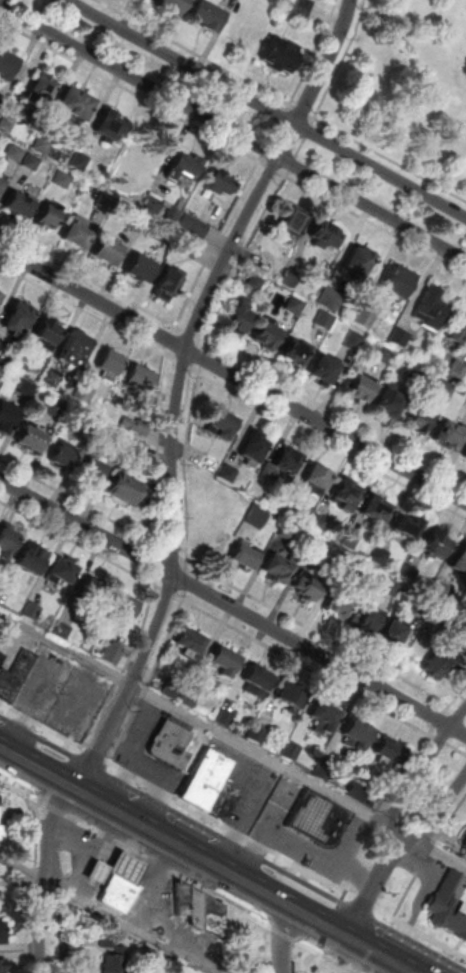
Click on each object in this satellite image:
building: (173, 5)
building: (306, 7)
building: (207, 17)
road: (318, 53)
building: (281, 57)
road: (208, 59)
building: (8, 67)
park: (408, 88)
road: (131, 89)
building: (42, 95)
building: (77, 106)
road: (267, 109)
building: (1, 112)
building: (7, 125)
building: (111, 127)
road: (333, 129)
road: (234, 130)
road: (277, 132)
building: (16, 153)
building: (81, 162)
building: (33, 163)
building: (186, 169)
building: (64, 180)
building: (2, 184)
building: (221, 186)
building: (108, 205)
building: (21, 207)
building: (162, 210)
building: (53, 218)
building: (290, 218)
road: (363, 218)
building: (137, 222)
building: (194, 226)
building: (323, 234)
building: (79, 236)
building: (167, 236)
road: (251, 243)
building: (186, 247)
building: (109, 254)
building: (264, 261)
building: (357, 262)
building: (141, 271)
building: (291, 274)
building: (254, 279)
building: (399, 280)
building: (168, 287)
building: (0, 294)
building: (331, 295)
building: (2, 301)
building: (294, 301)
building: (429, 306)
building: (364, 315)
building: (325, 316)
building: (237, 318)
building: (20, 320)
road: (170, 324)
building: (458, 327)
building: (49, 333)
building: (265, 335)
building: (396, 336)
building: (353, 337)
building: (1, 344)
building: (294, 350)
building: (75, 352)
building: (382, 354)
building: (111, 360)
building: (25, 363)
building: (455, 367)
building: (321, 368)
building: (415, 370)
building: (3, 374)
building: (140, 376)
road: (232, 377)
building: (53, 379)
road: (180, 385)
building: (357, 387)
building: (439, 387)
building: (28, 390)
road: (293, 391)
building: (85, 394)
building: (386, 400)
building: (57, 407)
building: (419, 418)
building: (7, 419)
building: (87, 420)
building: (218, 423)
building: (446, 434)
building: (34, 441)
road: (161, 444)
building: (115, 445)
building: (251, 445)
building: (135, 451)
building: (463, 452)
building: (284, 458)
building: (64, 460)
building: (205, 461)
building: (94, 473)
building: (226, 474)
building: (315, 474)
road: (188, 476)
building: (128, 492)
building: (344, 493)
building: (287, 501)
building: (374, 507)
building: (257, 512)
building: (319, 518)
building: (406, 524)
building: (288, 527)
building: (351, 536)
building: (318, 542)
building: (434, 542)
building: (8, 547)
building: (380, 551)
building: (242, 554)
building: (459, 557)
building: (350, 559)
building: (34, 562)
road: (115, 562)
building: (275, 566)
building: (409, 568)
building: (64, 574)
road: (189, 582)
building: (391, 583)
building: (439, 583)
building: (308, 587)
building: (92, 594)
building: (341, 603)
road: (233, 605)
building: (127, 610)
building: (33, 613)
building: (370, 617)
road: (218, 619)
building: (63, 631)
building: (394, 633)
building: (456, 635)
road: (169, 642)
building: (191, 645)
building: (0, 653)
building: (114, 654)
building: (437, 664)
building: (226, 665)
building: (13, 675)
building: (259, 683)
building: (172, 690)
building: (190, 700)
building: (293, 700)
road: (454, 708)
building: (226, 718)
road: (441, 720)
building: (326, 721)
road: (42, 725)
building: (260, 736)
building: (358, 738)
road: (232, 740)
road: (443, 741)
building: (169, 743)
road: (457, 748)
building: (292, 753)
building: (391, 753)
road: (95, 754)
building: (323, 771)
road: (421, 774)
building: (202, 777)
road: (20, 787)
building: (359, 792)
building: (220, 799)
road: (54, 806)
road: (385, 806)
road: (437, 816)
building: (316, 817)
road: (230, 828)
road: (51, 830)
building: (3, 839)
building: (465, 846)
road: (83, 848)
road: (102, 856)
road: (208, 858)
road: (428, 858)
road: (26, 868)
road: (170, 870)
building: (127, 872)
road: (127, 872)
road: (146, 881)
road: (152, 885)
road: (373, 889)
building: (122, 891)
building: (184, 899)
building: (450, 902)
building: (3, 903)
road: (364, 903)
building: (197, 909)
building: (214, 916)
road: (29, 922)
road: (42, 924)
road: (67, 924)
road: (140, 931)
road: (286, 933)
road: (420, 933)
building: (2, 935)
road: (78, 935)
road: (285, 938)
road: (241, 941)
road: (329, 956)
building: (117, 961)
road: (331, 965)
building: (3, 966)

